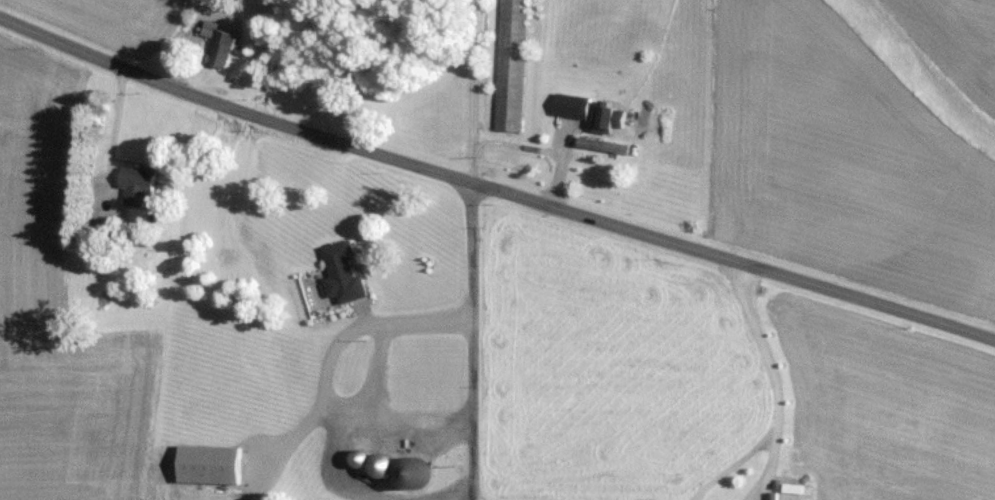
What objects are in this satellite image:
building: (212, 29)
building: (513, 64)
building: (575, 104)
building: (604, 144)
building: (140, 178)
road: (494, 189)
building: (345, 271)
road: (467, 340)
road: (372, 370)
road: (321, 376)
road: (773, 394)
road: (289, 436)
road: (769, 454)
building: (213, 464)
road: (364, 495)
road: (469, 499)

